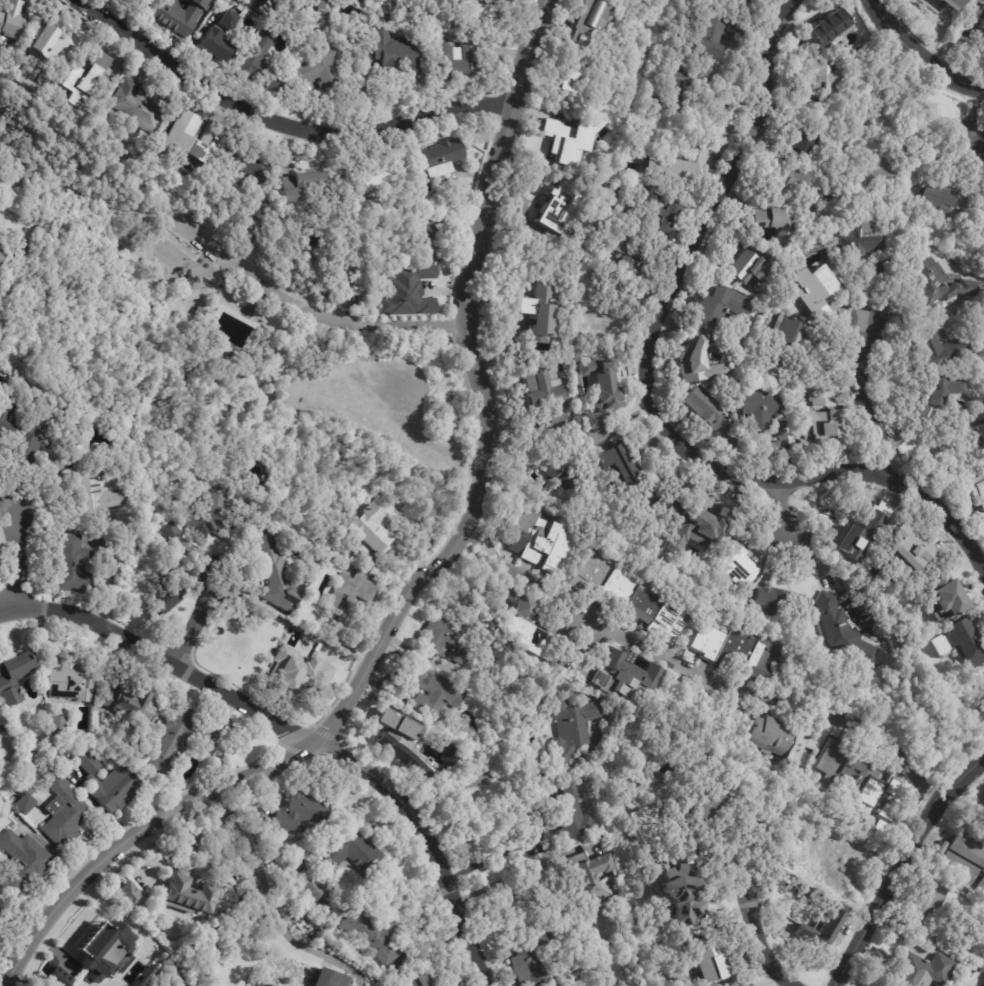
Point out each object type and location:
building: (125, 0)
building: (150, 0)
building: (510, 0)
building: (307, 1)
building: (373, 1)
building: (488, 2)
building: (747, 4)
building: (951, 5)
building: (323, 6)
building: (240, 8)
building: (977, 9)
building: (180, 16)
building: (586, 17)
building: (10, 20)
building: (735, 26)
building: (828, 27)
building: (709, 33)
building: (982, 35)
building: (219, 38)
building: (56, 40)
building: (393, 52)
building: (847, 52)
road: (524, 53)
road: (918, 56)
building: (456, 60)
building: (260, 65)
building: (323, 70)
building: (569, 76)
building: (825, 79)
building: (86, 81)
building: (687, 83)
building: (134, 106)
road: (274, 120)
road: (976, 123)
building: (567, 125)
building: (186, 137)
building: (806, 143)
building: (630, 145)
building: (926, 154)
building: (438, 158)
building: (675, 166)
building: (252, 167)
building: (886, 172)
building: (365, 177)
building: (795, 184)
building: (307, 190)
building: (936, 199)
road: (101, 208)
building: (560, 208)
building: (656, 211)
building: (771, 222)
building: (982, 228)
building: (250, 229)
building: (433, 236)
building: (860, 238)
building: (980, 247)
building: (1, 258)
building: (402, 259)
building: (630, 259)
building: (749, 266)
building: (885, 267)
building: (935, 281)
building: (542, 289)
building: (814, 291)
building: (408, 292)
road: (468, 294)
road: (306, 306)
building: (718, 306)
building: (202, 312)
road: (324, 321)
building: (540, 328)
building: (790, 345)
building: (935, 351)
building: (233, 357)
building: (696, 360)
building: (539, 391)
road: (651, 393)
road: (858, 396)
building: (937, 398)
building: (600, 399)
building: (760, 404)
building: (705, 410)
building: (822, 418)
building: (556, 421)
building: (980, 424)
building: (21, 434)
building: (619, 461)
building: (566, 470)
building: (261, 480)
building: (92, 486)
road: (473, 490)
building: (976, 490)
building: (666, 499)
road: (783, 509)
building: (211, 516)
building: (842, 522)
building: (368, 530)
building: (695, 531)
building: (170, 532)
building: (541, 541)
building: (903, 551)
road: (18, 558)
building: (77, 566)
building: (736, 567)
building: (168, 570)
building: (274, 573)
building: (352, 588)
building: (943, 595)
road: (555, 596)
building: (629, 597)
building: (164, 598)
building: (780, 603)
road: (8, 611)
road: (204, 615)
building: (528, 622)
building: (837, 626)
building: (871, 632)
building: (445, 638)
building: (243, 643)
building: (959, 643)
building: (735, 653)
building: (306, 672)
building: (625, 676)
building: (12, 678)
building: (69, 682)
building: (433, 690)
building: (128, 703)
road: (773, 703)
building: (979, 712)
building: (100, 717)
building: (58, 727)
building: (572, 728)
road: (304, 737)
building: (177, 740)
building: (404, 742)
building: (781, 745)
building: (452, 753)
road: (265, 767)
building: (861, 780)
building: (109, 783)
road: (448, 792)
building: (14, 795)
building: (705, 802)
building: (24, 803)
building: (301, 813)
building: (64, 814)
building: (573, 815)
building: (829, 828)
building: (968, 851)
building: (355, 854)
building: (21, 863)
building: (841, 866)
road: (901, 866)
building: (295, 868)
building: (959, 869)
road: (505, 877)
building: (588, 879)
building: (325, 884)
building: (683, 884)
building: (982, 884)
building: (185, 894)
building: (129, 897)
road: (274, 905)
building: (2, 906)
building: (924, 909)
building: (787, 923)
building: (822, 924)
building: (372, 935)
road: (759, 943)
building: (104, 950)
building: (983, 957)
building: (709, 959)
building: (536, 960)
building: (922, 972)
building: (430, 977)
building: (59, 978)
building: (328, 978)
building: (260, 984)
building: (612, 984)
building: (983, 985)

